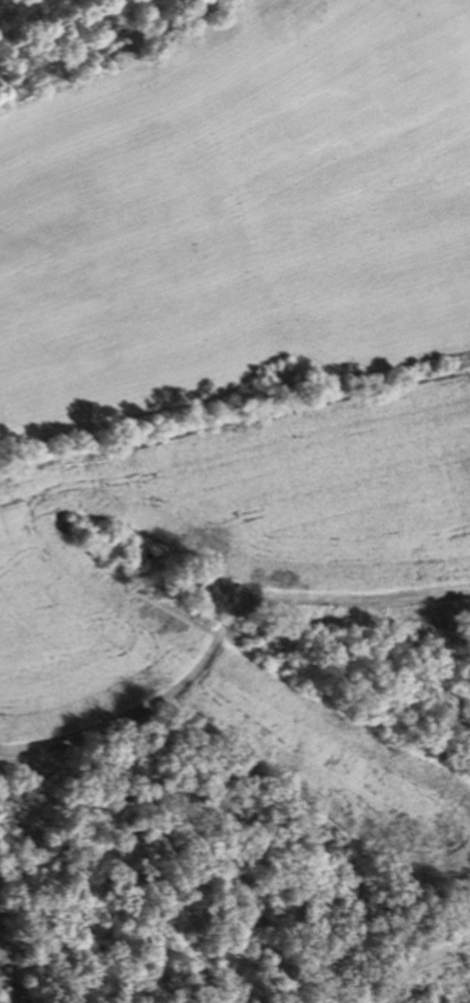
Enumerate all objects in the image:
road: (220, 628)

